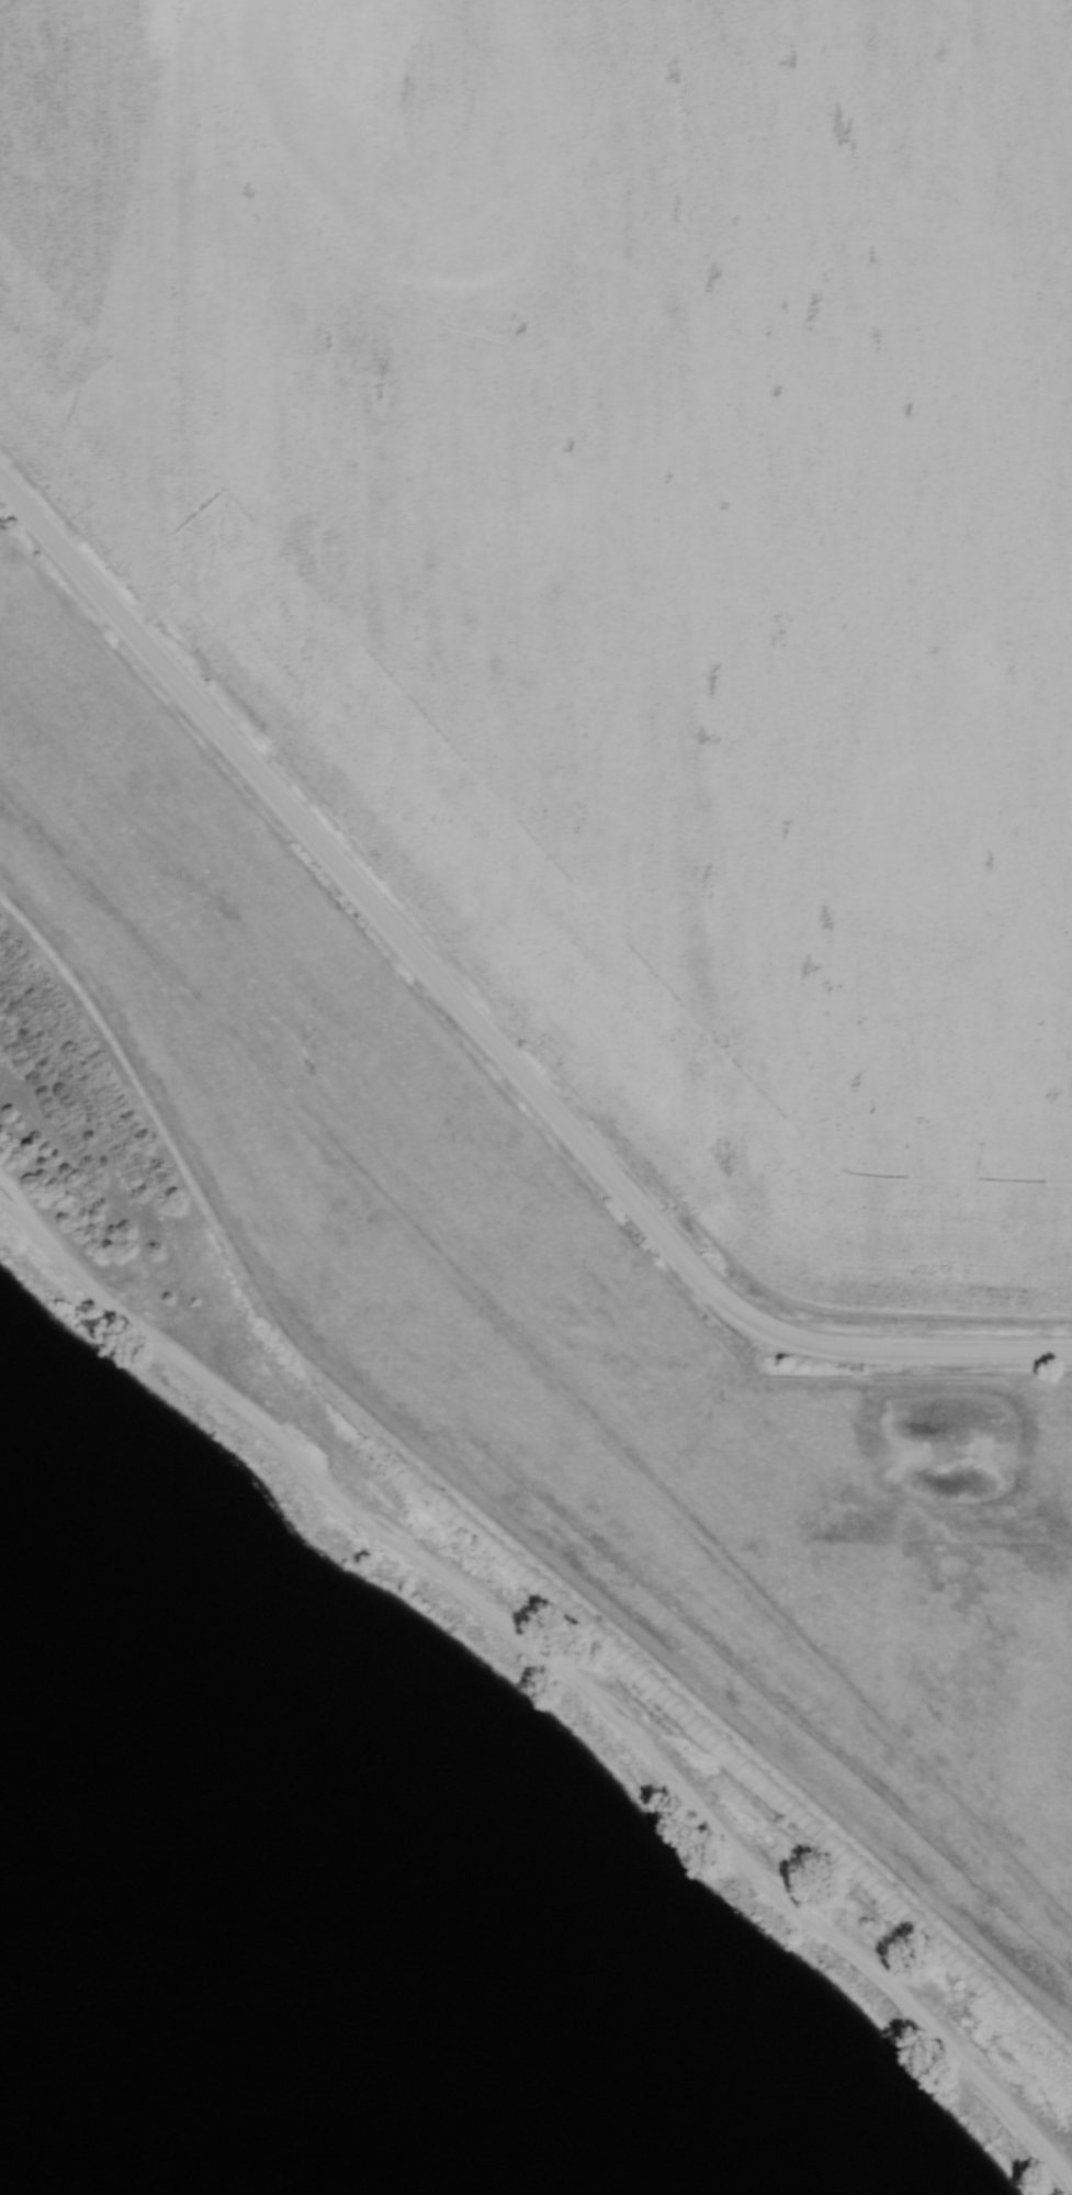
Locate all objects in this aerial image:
crop: (105, 258)
road: (478, 1024)
road: (475, 1534)
road: (557, 1668)

